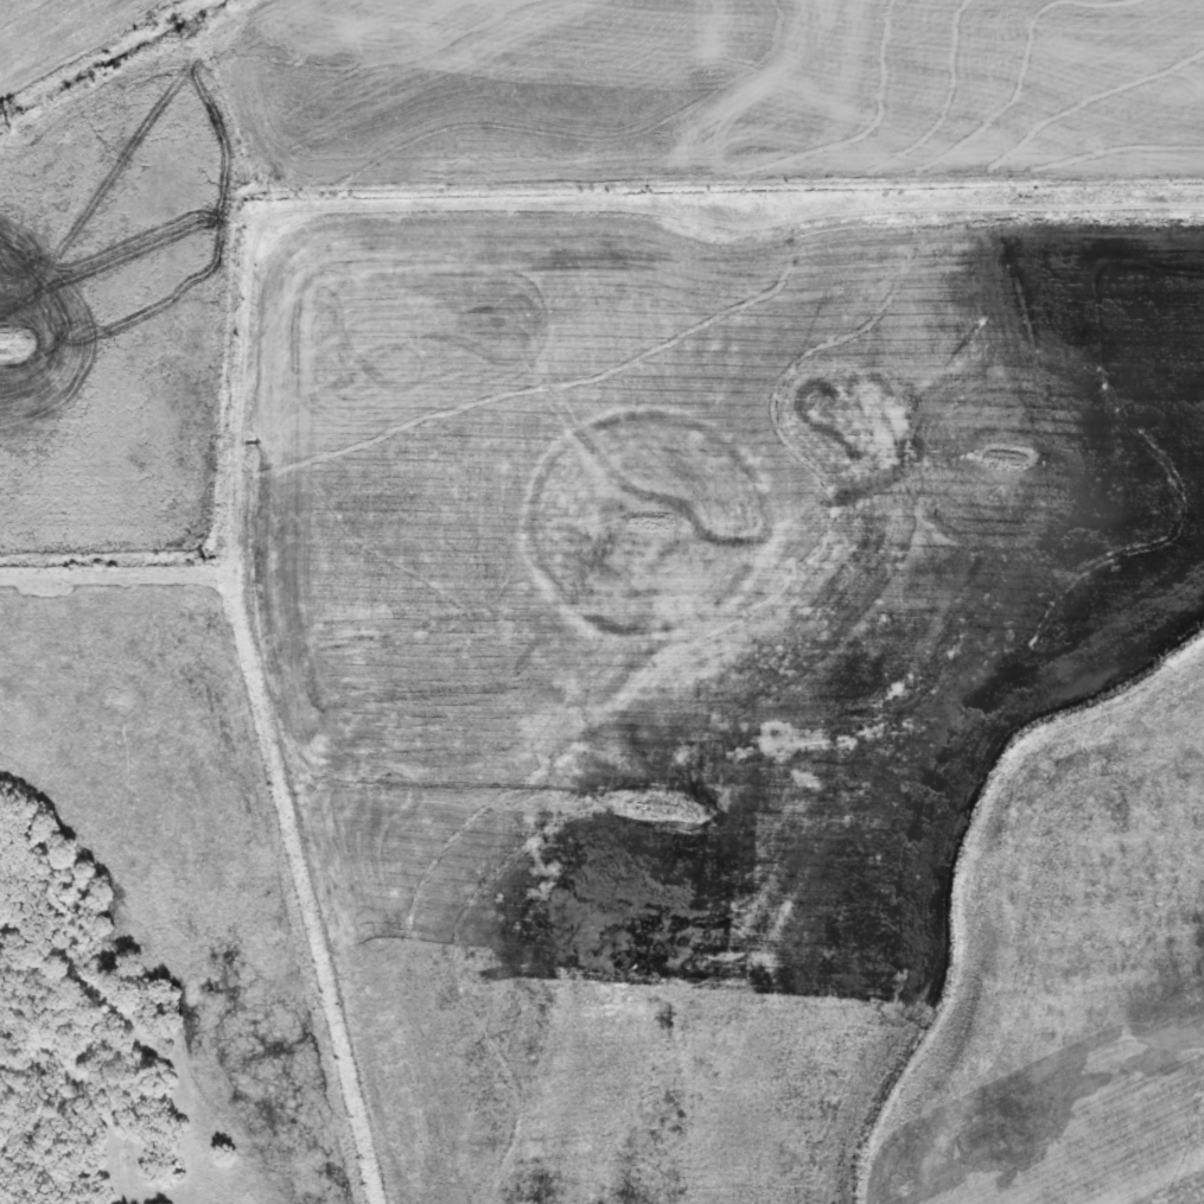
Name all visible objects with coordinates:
building: (115, 1168)

